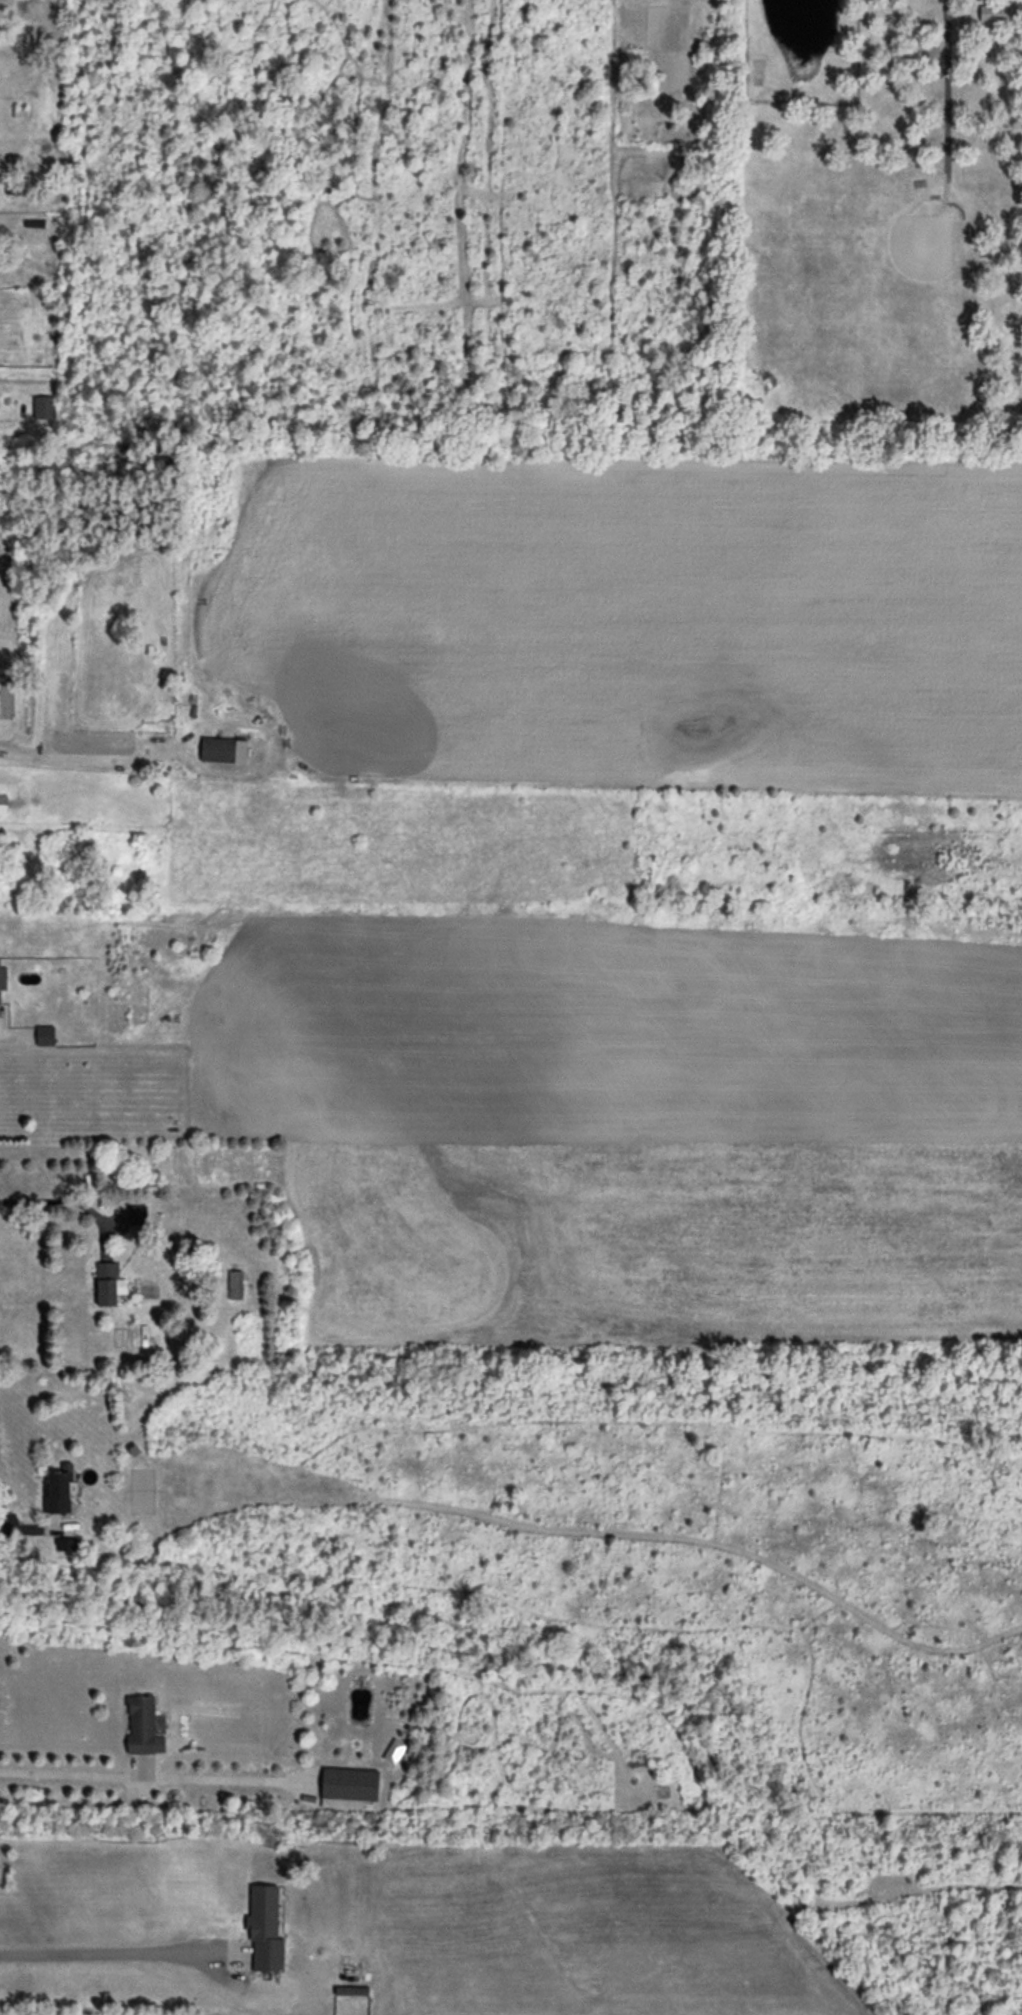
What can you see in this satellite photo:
building: (996, 12)
road: (945, 73)
building: (223, 749)
building: (3, 977)
road: (4, 1042)
road: (61, 1197)
building: (108, 1284)
building: (235, 1284)
road: (9, 1531)
building: (393, 1750)
road: (147, 1777)
building: (349, 1787)
building: (265, 1927)
road: (96, 1952)

